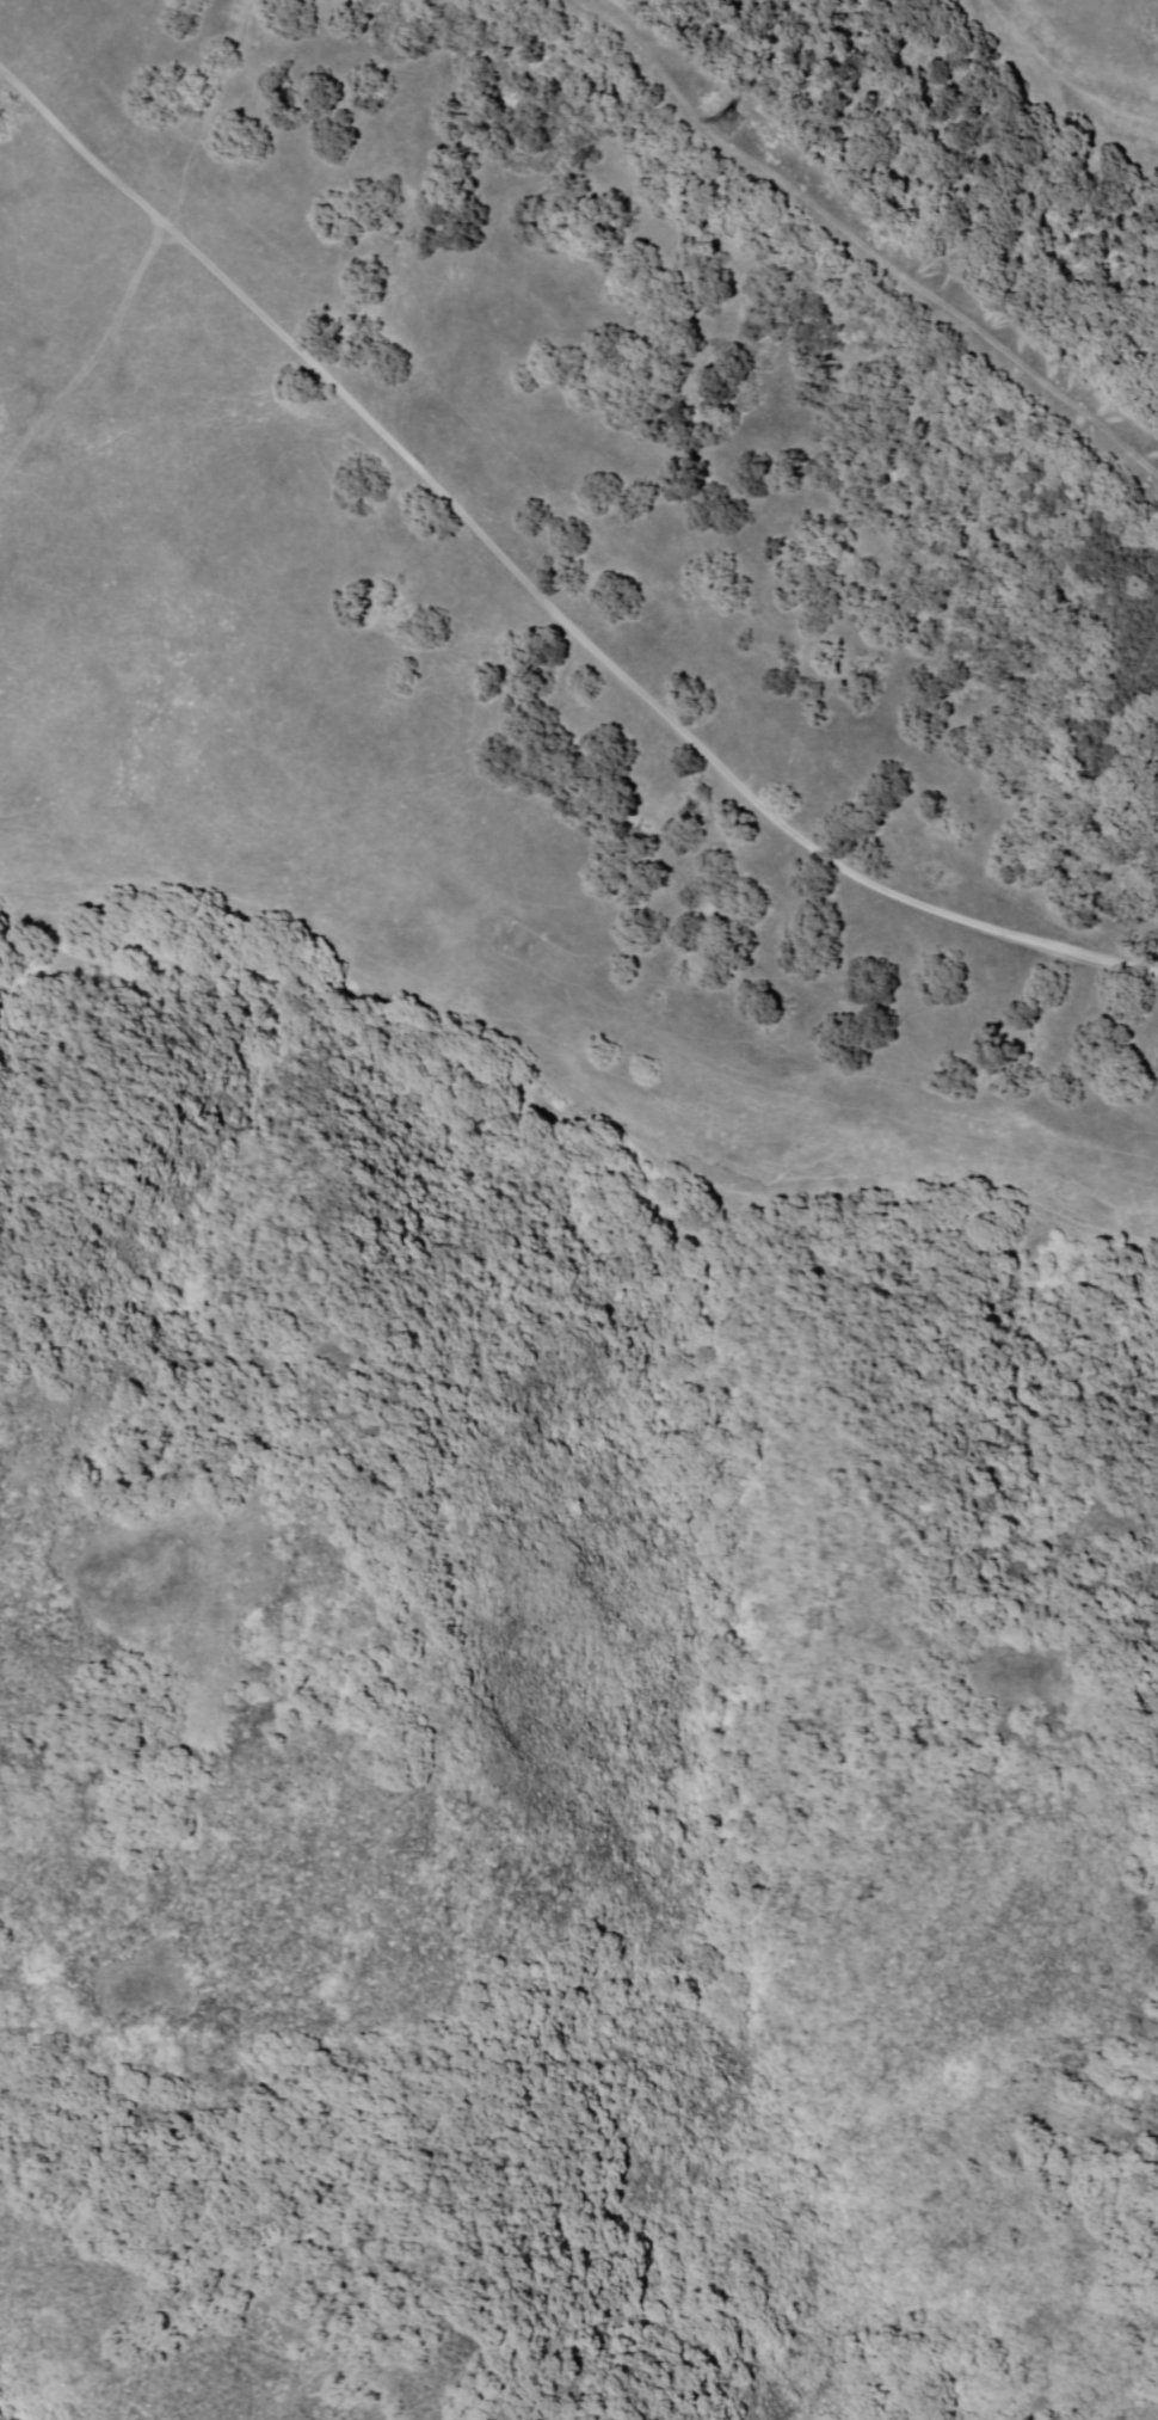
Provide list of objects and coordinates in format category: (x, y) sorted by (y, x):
power tower: (719, 121)
road: (80, 143)
road: (91, 351)
road: (611, 670)

